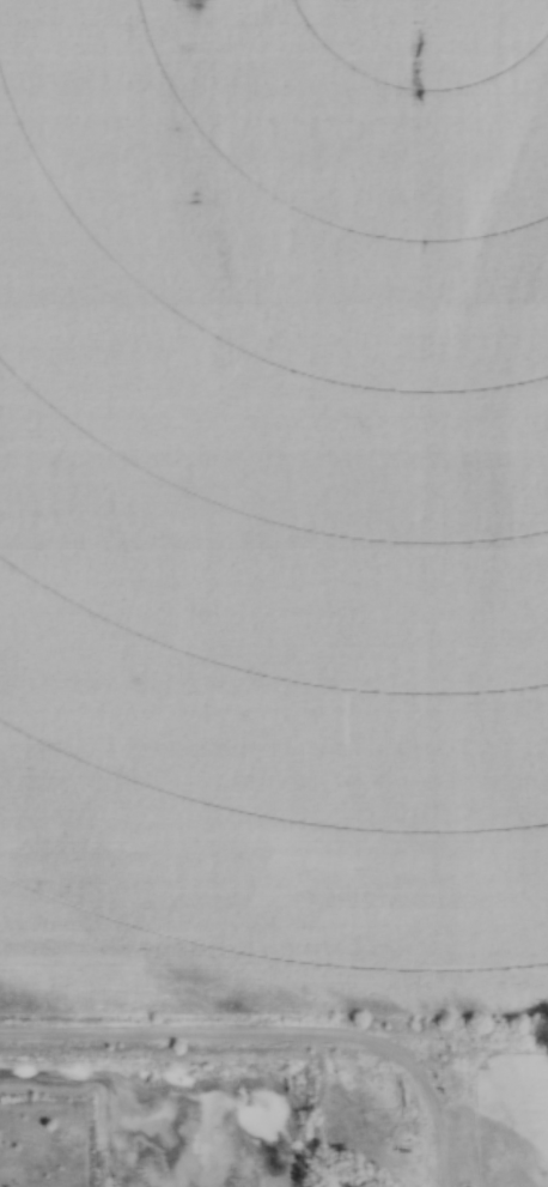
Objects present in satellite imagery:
road: (274, 1032)
building: (471, 1167)

